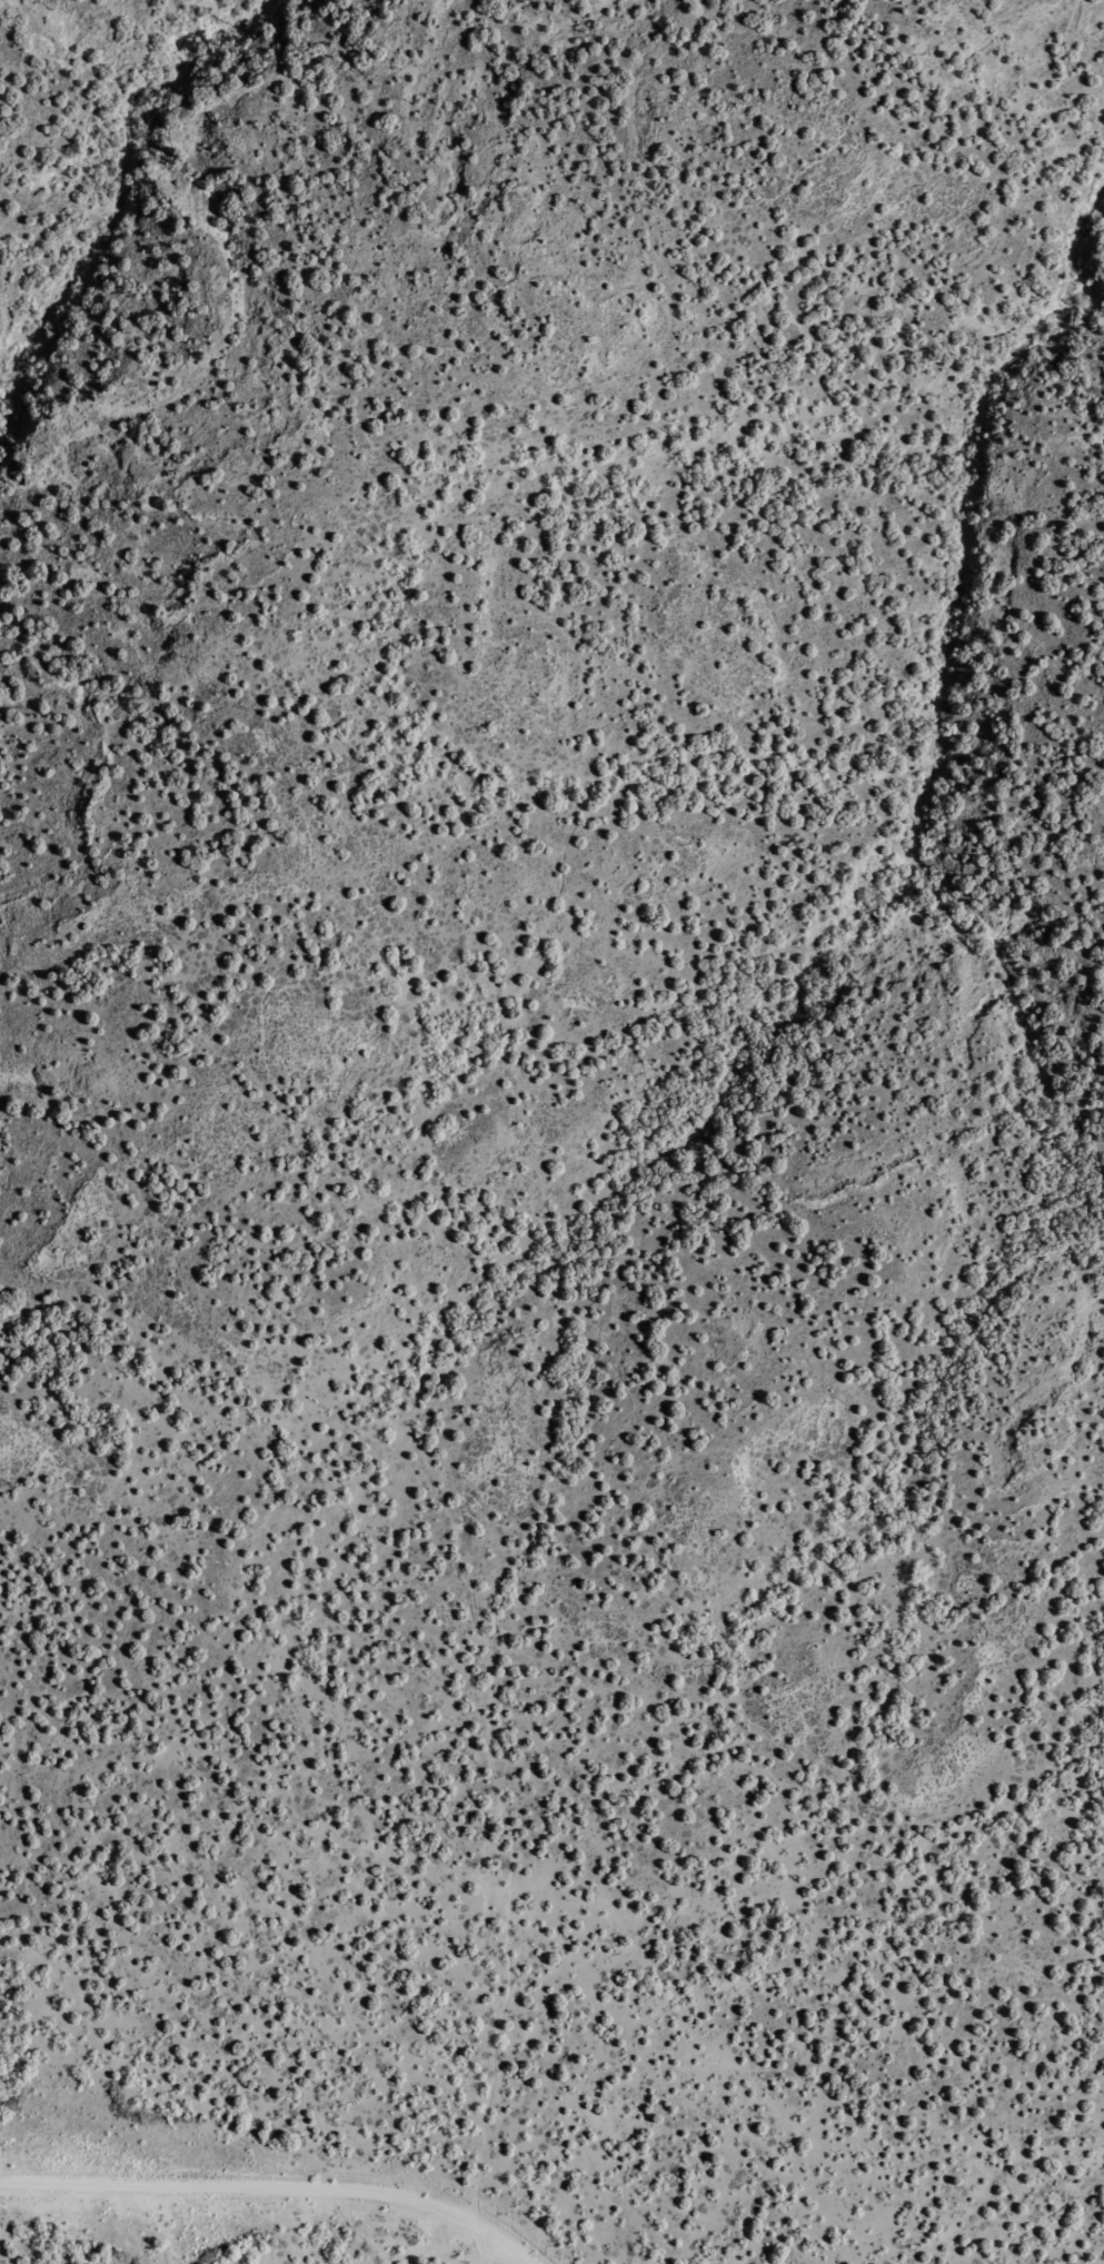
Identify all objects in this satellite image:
road: (281, 2188)

